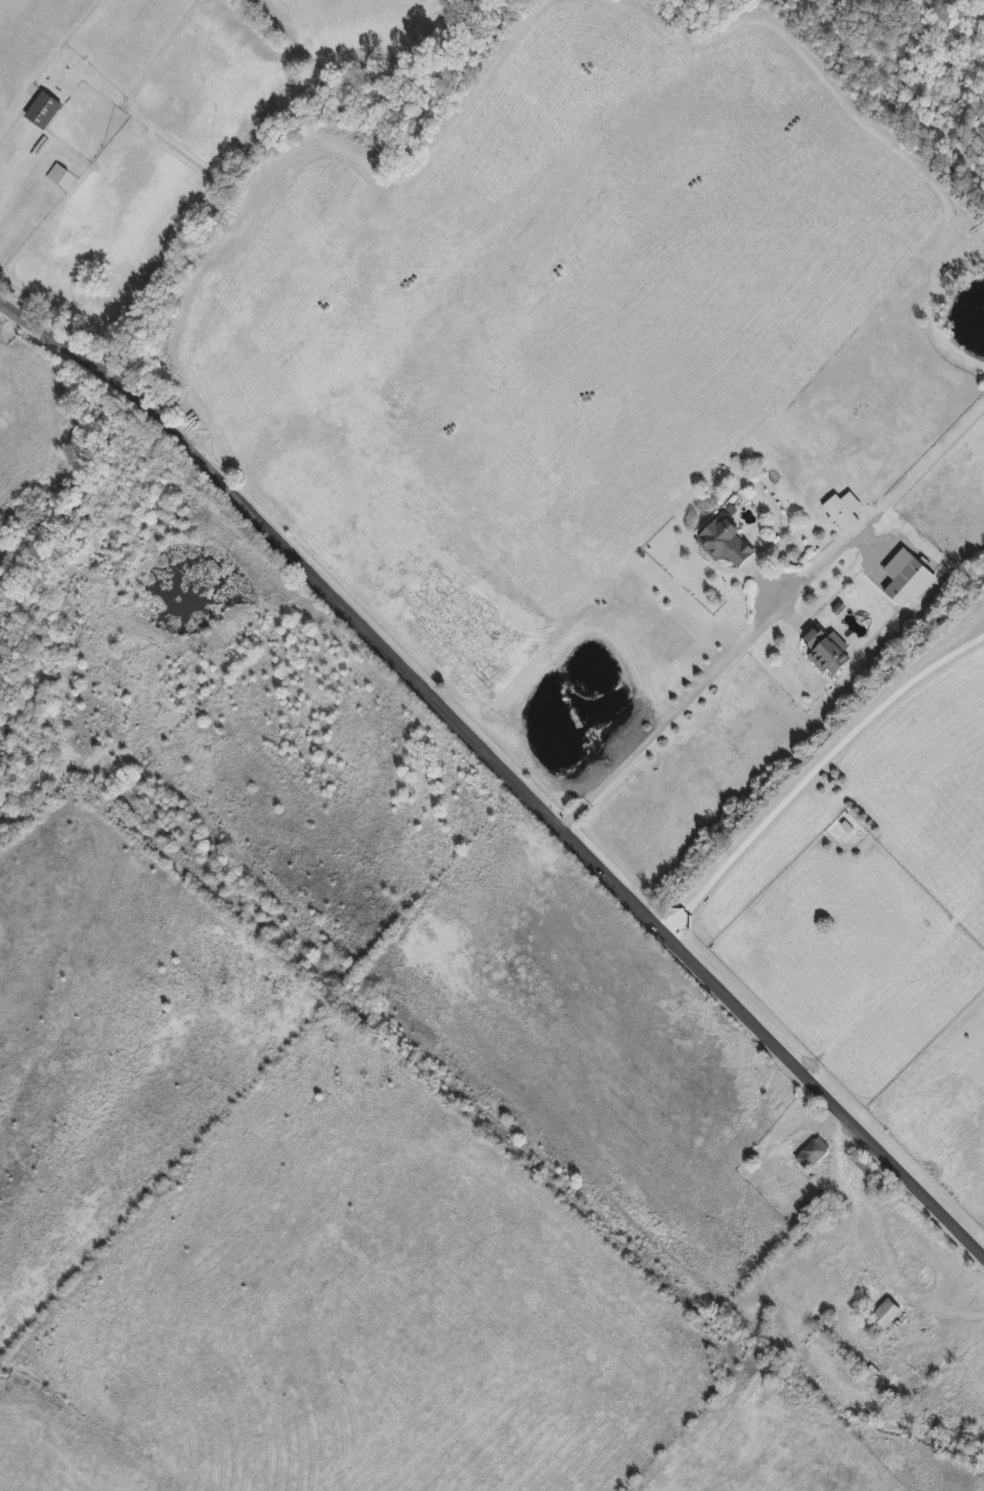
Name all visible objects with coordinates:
building: (44, 112)
building: (58, 176)
road: (943, 331)
building: (725, 544)
road: (770, 617)
building: (828, 652)
road: (501, 769)
road: (812, 772)
building: (814, 1155)
building: (885, 1317)

